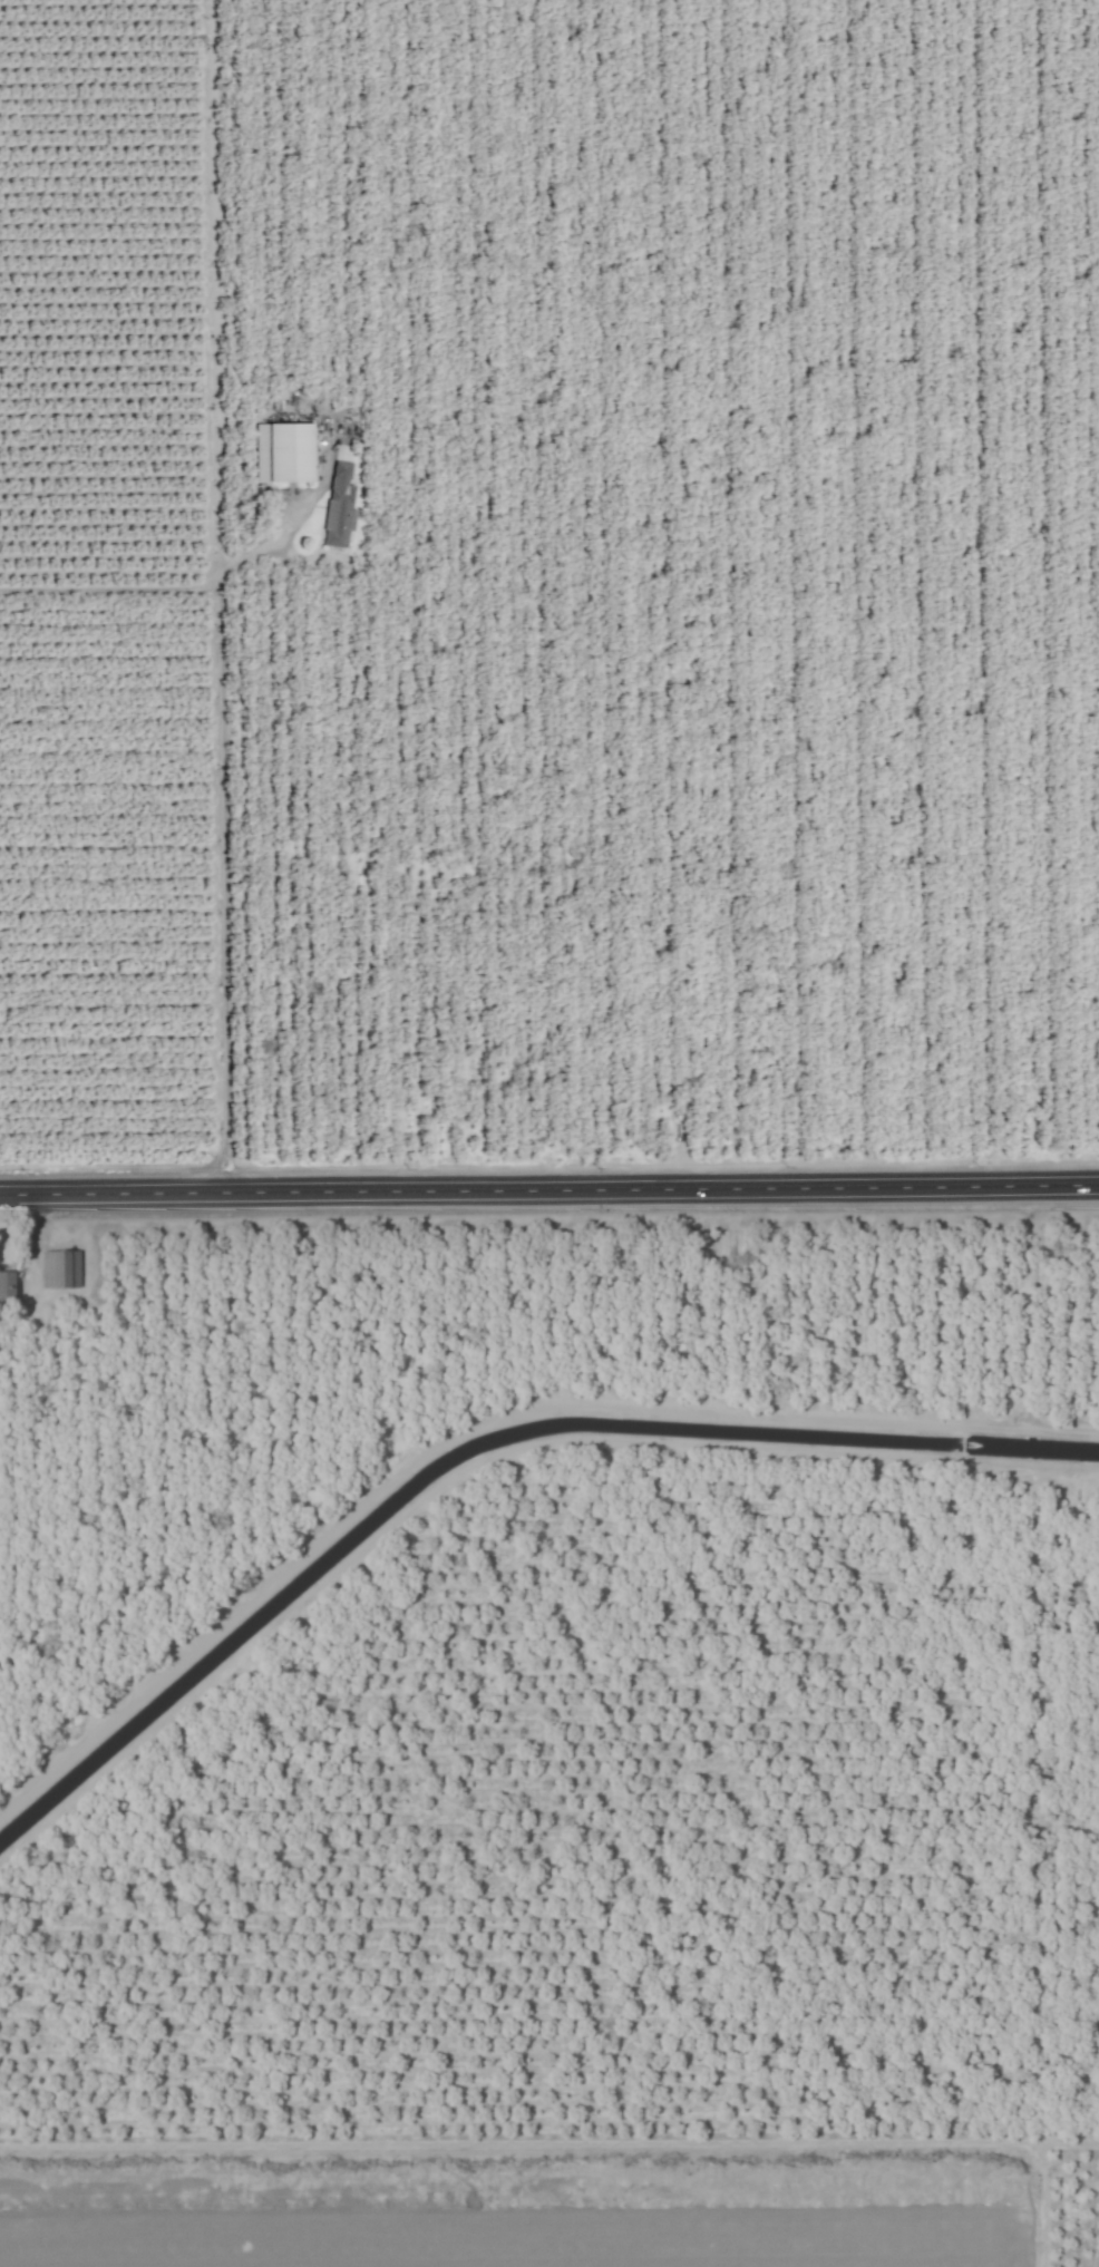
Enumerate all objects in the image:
building: (291, 454)
building: (341, 508)
road: (171, 588)
road: (224, 862)
road: (226, 1147)
road: (549, 1186)
building: (60, 1269)
building: (7, 1288)

